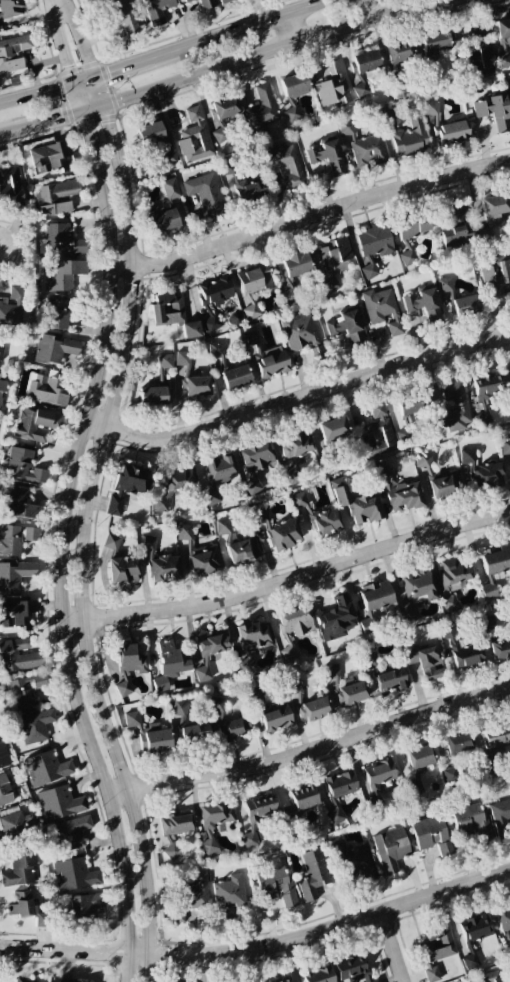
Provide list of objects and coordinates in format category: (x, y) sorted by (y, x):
building: (185, 0)
building: (224, 1)
building: (207, 4)
building: (11, 8)
building: (157, 10)
building: (120, 15)
road: (250, 24)
road: (291, 26)
building: (502, 30)
road: (78, 37)
road: (61, 41)
building: (434, 41)
road: (271, 49)
building: (477, 51)
building: (14, 53)
building: (399, 53)
building: (503, 60)
building: (365, 62)
traffic signals: (68, 64)
road: (123, 65)
building: (334, 67)
traffic signals: (110, 70)
building: (294, 86)
building: (361, 89)
building: (332, 91)
road: (36, 92)
road: (77, 95)
road: (91, 106)
building: (262, 108)
building: (493, 112)
traffic signals: (62, 115)
building: (292, 115)
building: (222, 116)
road: (49, 118)
traffic signals: (108, 123)
road: (8, 130)
building: (452, 132)
building: (150, 134)
building: (410, 137)
building: (195, 138)
building: (364, 147)
building: (327, 155)
building: (169, 156)
building: (51, 157)
building: (284, 165)
building: (244, 185)
building: (10, 190)
building: (205, 194)
building: (55, 198)
building: (165, 208)
building: (492, 215)
road: (310, 217)
building: (413, 226)
building: (455, 237)
building: (62, 240)
building: (373, 247)
building: (335, 255)
building: (408, 258)
building: (295, 264)
building: (63, 275)
building: (497, 275)
building: (254, 280)
building: (330, 285)
building: (216, 291)
building: (458, 300)
building: (424, 303)
building: (12, 308)
building: (167, 309)
building: (382, 309)
building: (251, 312)
building: (55, 314)
building: (211, 324)
building: (346, 328)
building: (190, 330)
building: (299, 333)
building: (345, 345)
building: (55, 349)
building: (318, 352)
building: (1, 353)
building: (267, 359)
building: (165, 361)
building: (235, 377)
building: (192, 378)
building: (2, 387)
building: (47, 388)
building: (486, 394)
building: (152, 396)
road: (296, 400)
building: (411, 405)
building: (453, 408)
building: (36, 424)
building: (333, 429)
building: (377, 432)
building: (294, 446)
building: (505, 447)
building: (467, 456)
building: (256, 457)
building: (23, 466)
building: (220, 469)
building: (487, 475)
building: (439, 479)
building: (252, 486)
building: (172, 487)
building: (126, 488)
building: (299, 498)
building: (19, 502)
building: (355, 503)
building: (325, 522)
road: (86, 528)
building: (31, 534)
building: (283, 535)
building: (10, 540)
building: (111, 542)
road: (60, 545)
building: (237, 545)
building: (196, 555)
building: (158, 563)
building: (494, 568)
building: (123, 570)
building: (15, 574)
building: (454, 574)
road: (289, 581)
building: (418, 586)
building: (375, 596)
building: (450, 604)
building: (17, 613)
building: (412, 613)
building: (335, 619)
building: (295, 622)
building: (488, 622)
building: (368, 625)
building: (253, 636)
building: (288, 647)
building: (461, 649)
building: (500, 649)
building: (210, 651)
building: (19, 655)
building: (369, 659)
building: (129, 660)
building: (426, 662)
building: (168, 665)
building: (331, 672)
building: (391, 680)
building: (295, 688)
building: (124, 689)
building: (23, 691)
building: (350, 694)
building: (218, 707)
building: (314, 709)
building: (276, 719)
building: (190, 724)
building: (35, 726)
building: (236, 727)
building: (149, 735)
building: (497, 736)
building: (458, 745)
road: (311, 752)
building: (3, 754)
building: (420, 757)
building: (46, 768)
building: (379, 774)
building: (451, 776)
building: (340, 785)
building: (509, 788)
building: (4, 791)
building: (304, 798)
building: (59, 803)
building: (500, 815)
building: (257, 816)
building: (470, 821)
building: (176, 824)
building: (213, 824)
building: (16, 825)
building: (72, 833)
building: (431, 835)
building: (168, 848)
building: (391, 849)
building: (352, 859)
building: (20, 870)
building: (76, 874)
building: (313, 874)
building: (276, 886)
building: (228, 896)
building: (189, 897)
building: (26, 908)
building: (85, 908)
building: (504, 921)
building: (475, 928)
building: (436, 944)
road: (260, 949)
road: (393, 949)
building: (470, 961)
building: (354, 969)
building: (431, 974)
building: (319, 975)
building: (489, 977)
building: (279, 979)
building: (22, 980)

